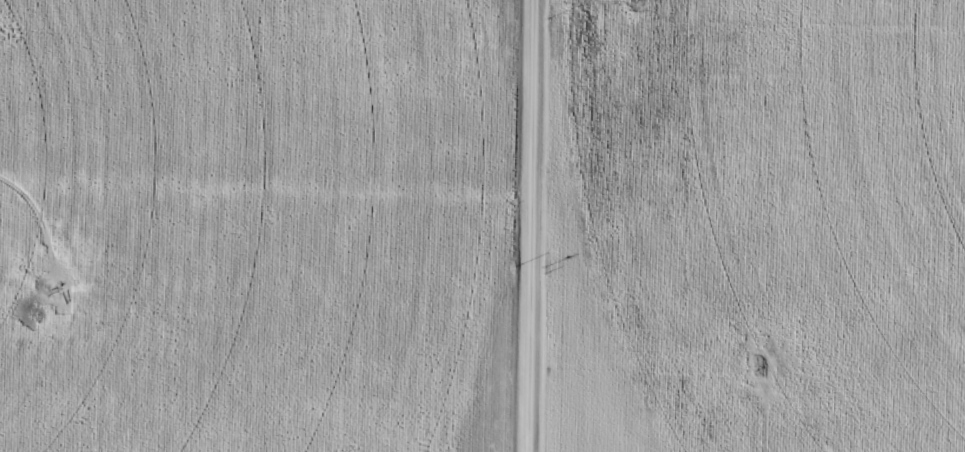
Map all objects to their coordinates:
road: (533, 226)

